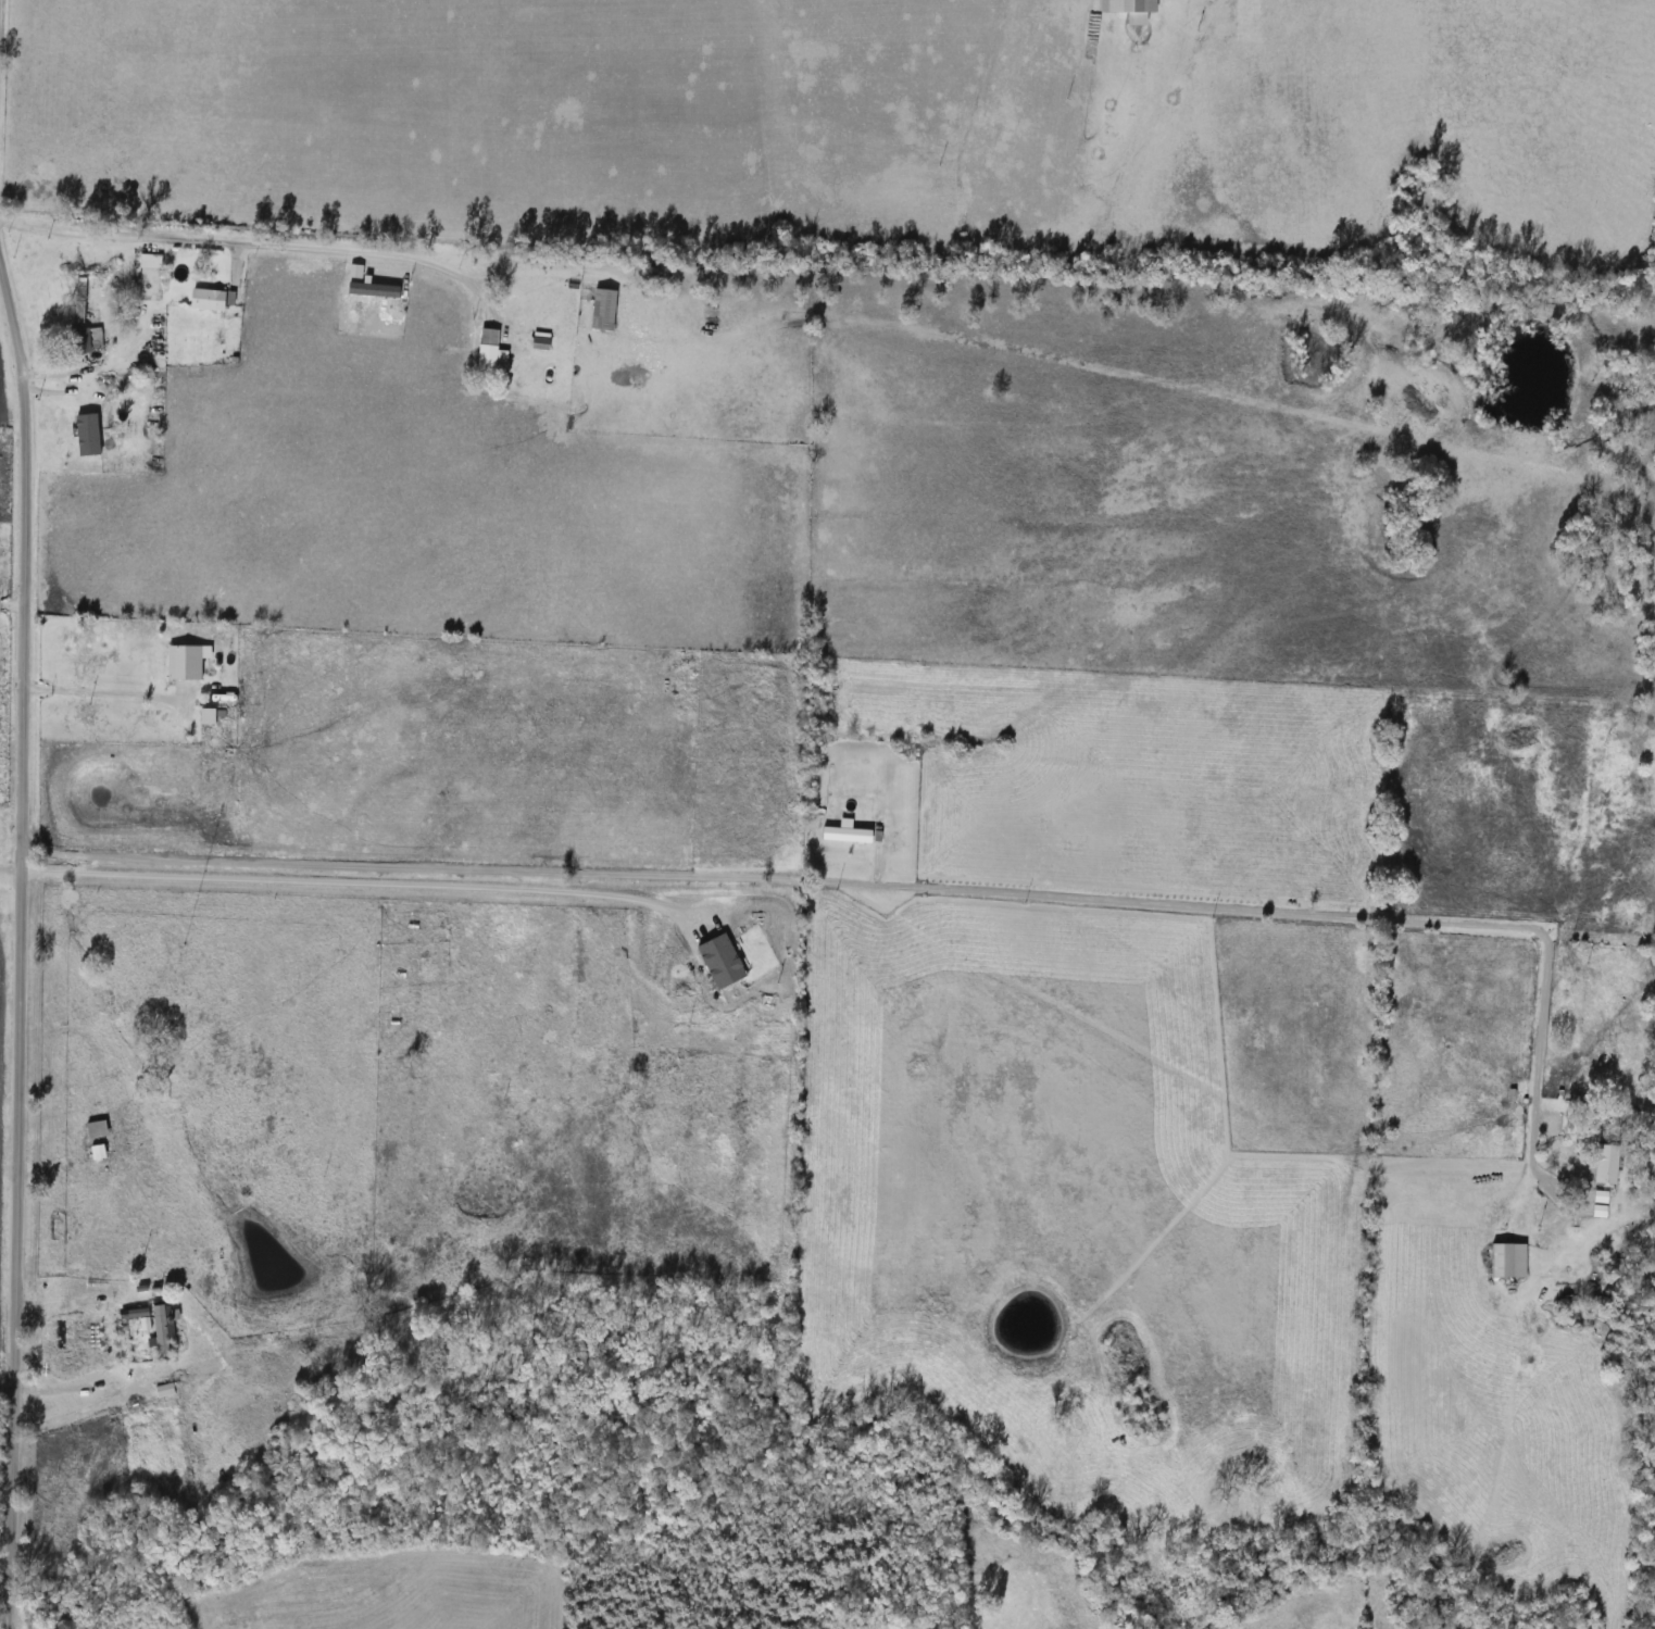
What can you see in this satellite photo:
building: (1132, 9)
road: (242, 239)
building: (151, 261)
building: (213, 300)
building: (605, 310)
building: (86, 340)
building: (543, 343)
building: (186, 663)
road: (104, 691)
building: (212, 716)
building: (848, 834)
road: (9, 867)
road: (344, 878)
road: (908, 890)
road: (16, 955)
building: (98, 1129)
building: (1596, 1204)
building: (1503, 1261)
building: (162, 1328)
road: (114, 1389)

